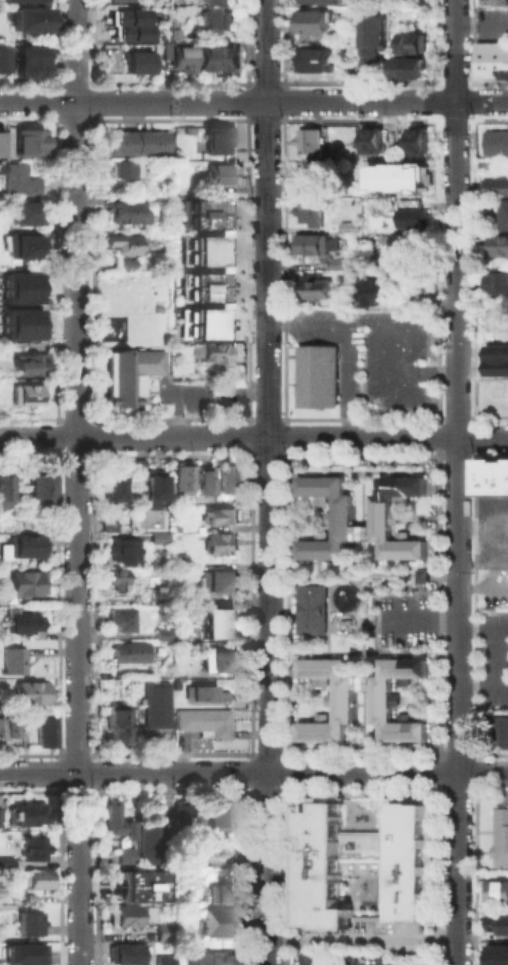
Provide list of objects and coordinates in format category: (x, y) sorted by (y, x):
building: (24, 0)
building: (118, 0)
building: (215, 1)
building: (318, 1)
building: (497, 1)
building: (217, 20)
building: (30, 21)
building: (128, 22)
building: (311, 22)
building: (174, 33)
building: (409, 43)
building: (372, 45)
building: (491, 57)
building: (218, 58)
building: (3, 59)
building: (182, 59)
building: (138, 60)
building: (313, 60)
building: (30, 61)
building: (406, 68)
road: (253, 102)
building: (217, 140)
building: (370, 140)
building: (416, 141)
building: (30, 142)
building: (495, 142)
building: (134, 143)
building: (308, 143)
building: (0, 167)
building: (125, 170)
building: (218, 174)
building: (393, 177)
building: (307, 178)
building: (20, 180)
building: (496, 191)
building: (409, 204)
building: (199, 206)
building: (129, 210)
building: (310, 211)
building: (26, 212)
road: (76, 218)
road: (266, 218)
building: (411, 218)
building: (505, 219)
building: (199, 221)
building: (346, 226)
building: (406, 242)
building: (199, 243)
building: (310, 243)
building: (125, 244)
building: (25, 246)
building: (498, 250)
building: (199, 257)
building: (127, 262)
building: (338, 264)
building: (20, 279)
building: (199, 279)
building: (314, 287)
building: (497, 287)
building: (373, 293)
building: (199, 294)
building: (20, 295)
building: (20, 315)
building: (200, 315)
building: (200, 330)
building: (20, 331)
building: (211, 353)
parking lot: (370, 355)
building: (497, 358)
building: (30, 363)
building: (316, 374)
building: (130, 375)
building: (28, 394)
road: (358, 416)
road: (433, 416)
road: (453, 416)
road: (94, 417)
road: (170, 417)
road: (246, 417)
road: (265, 417)
road: (283, 417)
road: (473, 417)
road: (30, 418)
road: (59, 418)
road: (75, 418)
road: (284, 429)
road: (57, 430)
road: (94, 430)
road: (432, 434)
road: (246, 436)
road: (473, 436)
road: (171, 437)
road: (387, 437)
road: (38, 438)
road: (285, 443)
road: (57, 444)
road: (94, 444)
road: (246, 454)
road: (358, 454)
road: (433, 454)
road: (454, 454)
road: (28, 455)
road: (57, 455)
road: (75, 455)
road: (94, 455)
road: (170, 455)
road: (260, 455)
road: (273, 455)
road: (285, 455)
road: (474, 455)
building: (139, 465)
building: (493, 476)
building: (190, 477)
building: (228, 478)
road: (456, 482)
building: (152, 488)
building: (5, 489)
building: (37, 489)
building: (113, 489)
building: (382, 514)
building: (220, 516)
building: (340, 516)
road: (360, 519)
building: (110, 525)
parking lot: (492, 530)
building: (159, 538)
building: (218, 544)
building: (26, 547)
building: (5, 550)
building: (123, 551)
building: (179, 561)
road: (409, 570)
building: (419, 574)
road: (347, 576)
building: (214, 581)
building: (116, 583)
building: (28, 584)
road: (359, 595)
road: (267, 604)
road: (284, 604)
road: (435, 605)
building: (309, 608)
building: (161, 613)
road: (419, 617)
building: (121, 619)
parking lot: (403, 619)
building: (217, 621)
building: (24, 623)
road: (324, 629)
road: (482, 629)
building: (163, 635)
road: (362, 648)
road: (360, 650)
building: (127, 651)
parking lot: (492, 656)
road: (497, 658)
building: (15, 659)
building: (219, 660)
road: (482, 688)
building: (33, 693)
building: (205, 693)
building: (378, 694)
building: (344, 695)
road: (78, 701)
building: (155, 705)
building: (205, 723)
building: (117, 726)
building: (501, 730)
building: (6, 731)
building: (45, 732)
road: (265, 752)
road: (247, 753)
road: (283, 753)
road: (360, 753)
road: (454, 753)
road: (473, 753)
road: (436, 756)
road: (284, 770)
road: (473, 771)
road: (246, 772)
road: (436, 772)
road: (134, 773)
road: (388, 773)
road: (285, 790)
road: (455, 790)
road: (474, 790)
road: (247, 791)
road: (266, 791)
road: (360, 791)
road: (436, 791)
building: (219, 814)
building: (27, 815)
building: (183, 819)
building: (116, 822)
building: (500, 835)
building: (152, 842)
building: (35, 849)
building: (126, 857)
building: (367, 857)
building: (219, 860)
building: (6, 863)
road: (268, 869)
building: (183, 877)
building: (32, 880)
building: (135, 884)
building: (495, 890)
building: (224, 895)
building: (28, 896)
building: (130, 916)
building: (216, 921)
building: (497, 922)
building: (30, 924)
building: (164, 932)
building: (23, 953)
building: (126, 954)
building: (495, 954)
building: (212, 956)
building: (164, 962)

